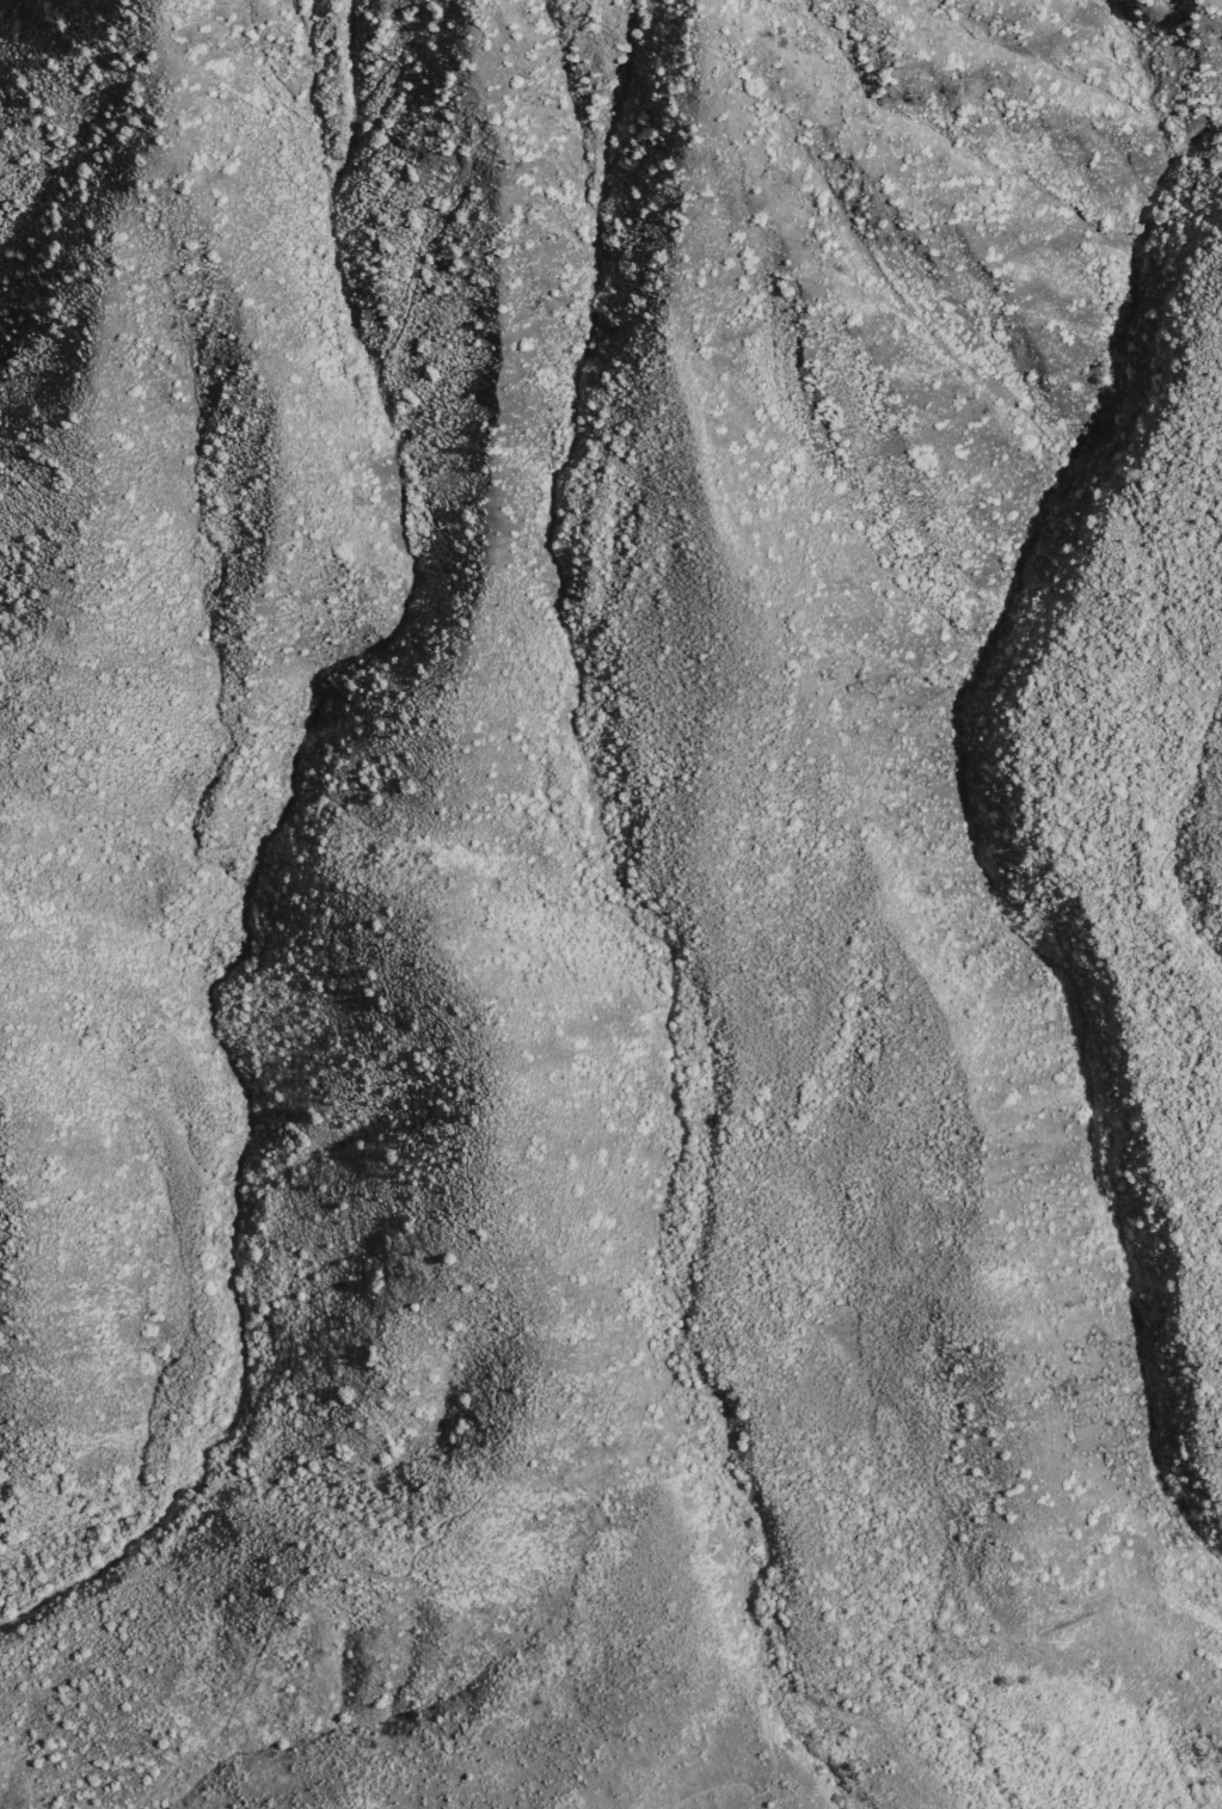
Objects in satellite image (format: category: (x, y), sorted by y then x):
road: (1215, 1803)

